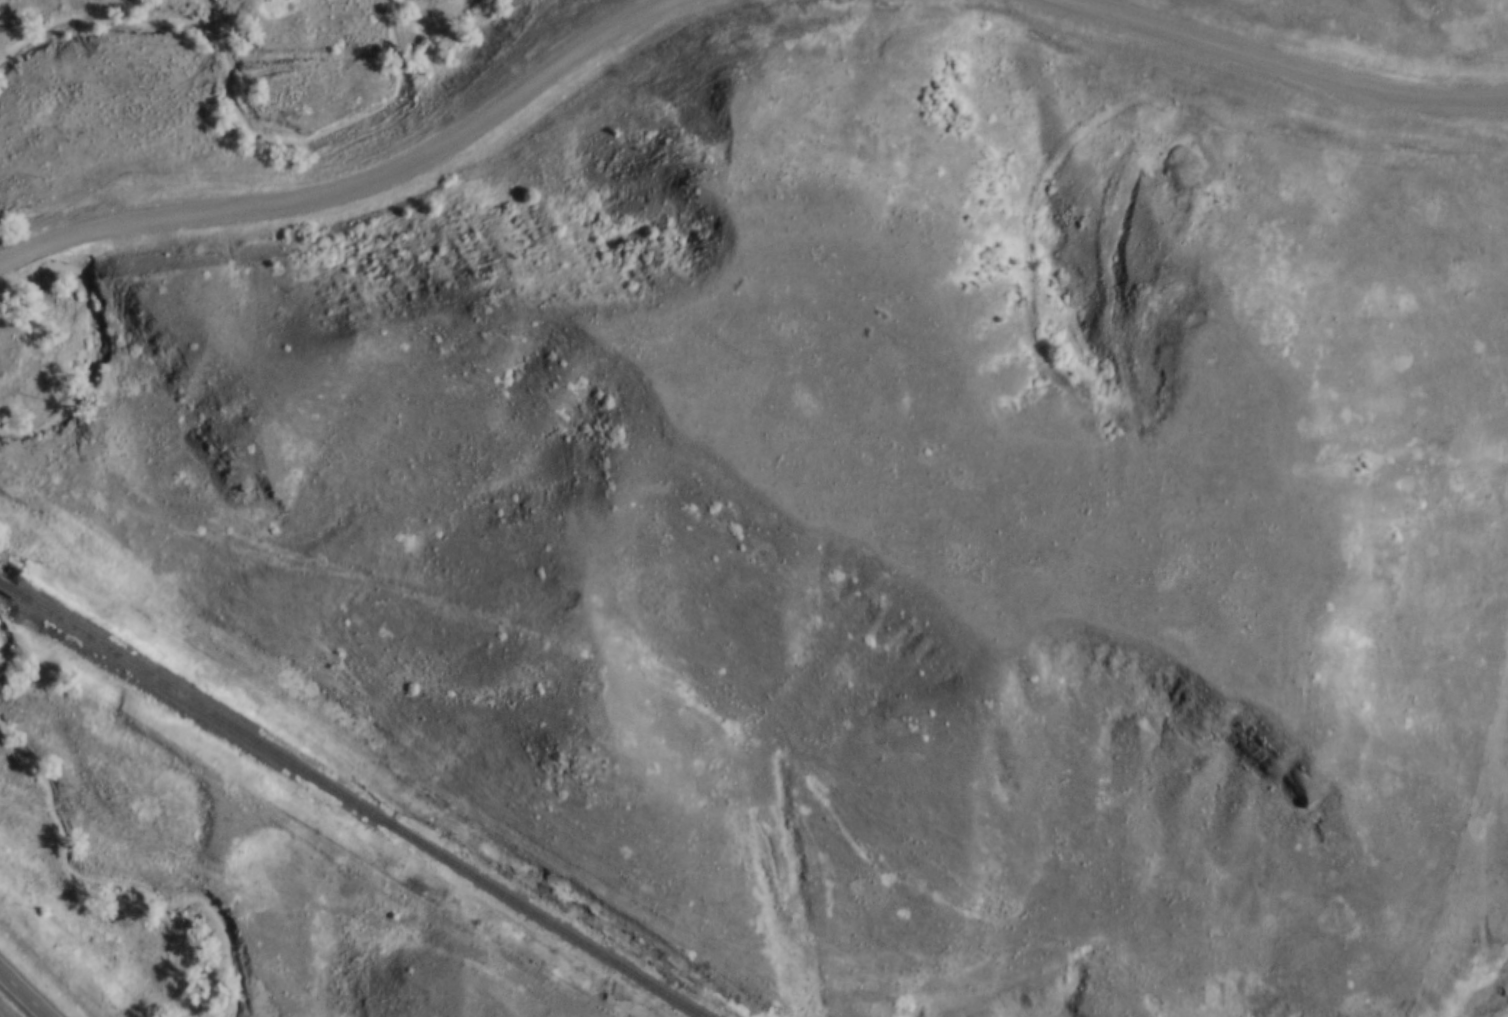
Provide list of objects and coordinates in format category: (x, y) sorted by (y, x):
road: (1263, 54)
road: (351, 189)
railway: (353, 799)
road: (27, 990)

